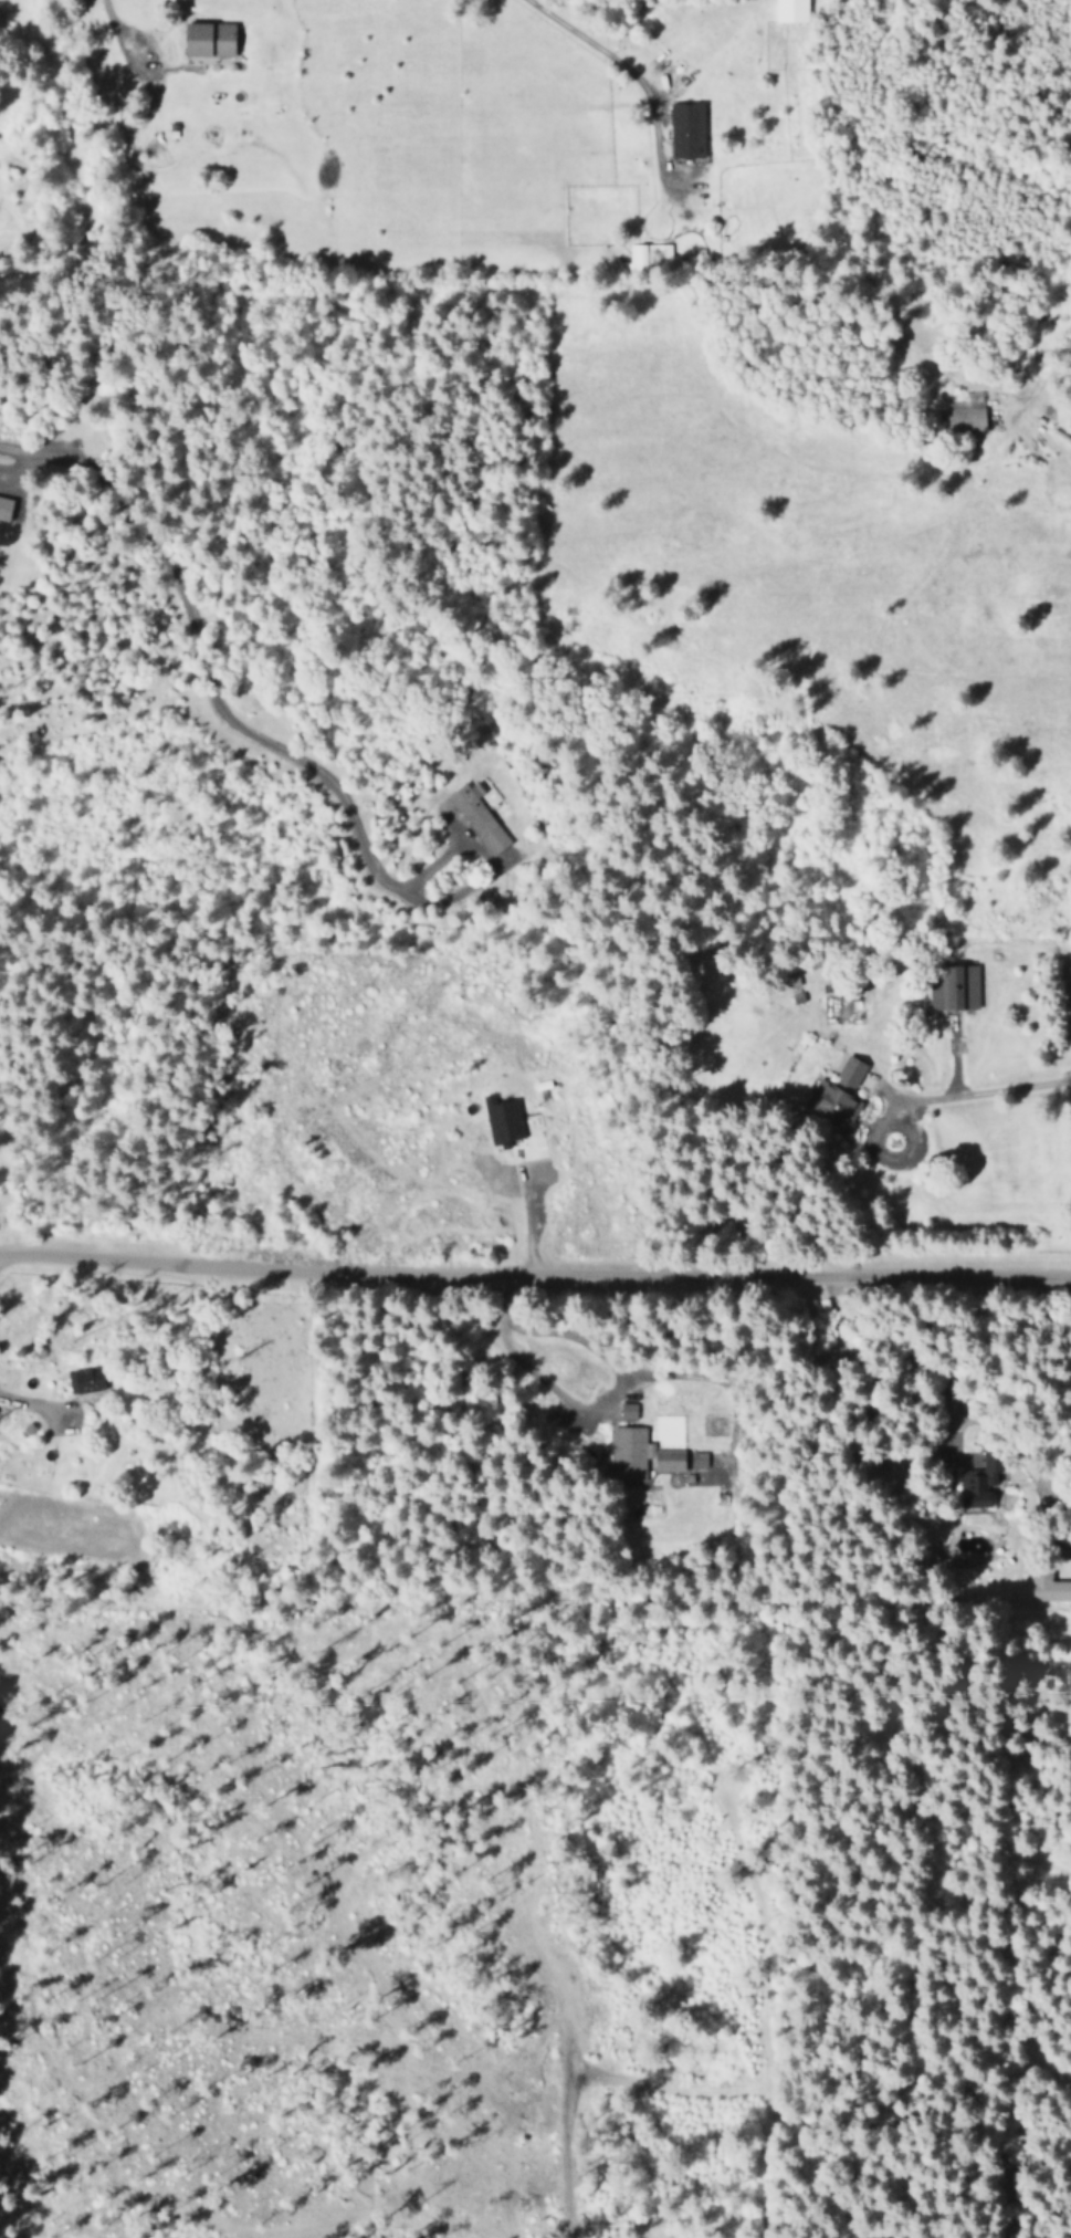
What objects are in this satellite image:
building: (790, 10)
building: (210, 39)
road: (632, 80)
building: (687, 130)
building: (645, 253)
building: (965, 415)
building: (4, 506)
building: (479, 816)
building: (954, 986)
building: (838, 1094)
road: (921, 1104)
building: (503, 1119)
road: (0, 1262)
road: (535, 1276)
building: (85, 1379)
building: (628, 1410)
road: (12, 1451)
building: (628, 1453)
building: (681, 1460)
building: (980, 1479)
building: (1047, 1585)

